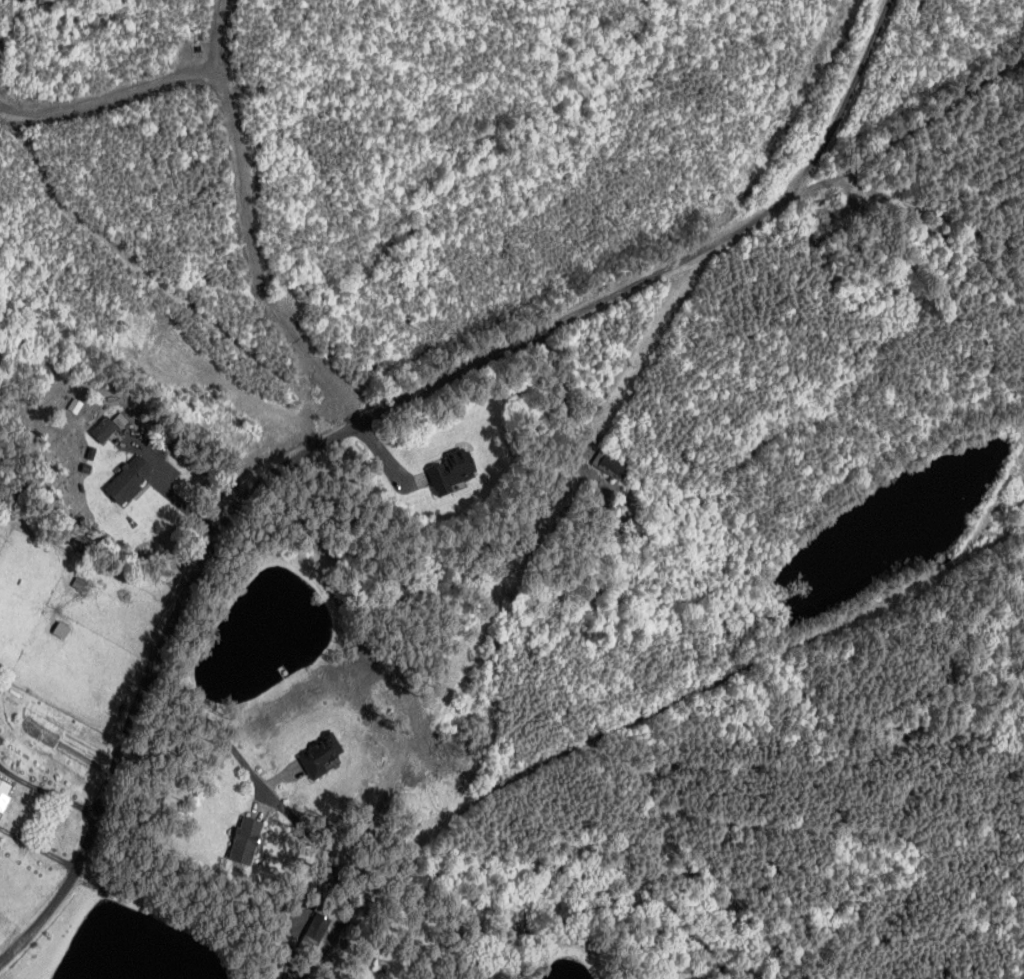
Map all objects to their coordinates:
road: (238, 145)
road: (368, 405)
building: (108, 426)
road: (382, 454)
building: (454, 470)
building: (129, 479)
road: (168, 491)
road: (207, 716)
road: (636, 720)
building: (321, 756)
building: (4, 794)
building: (247, 839)

